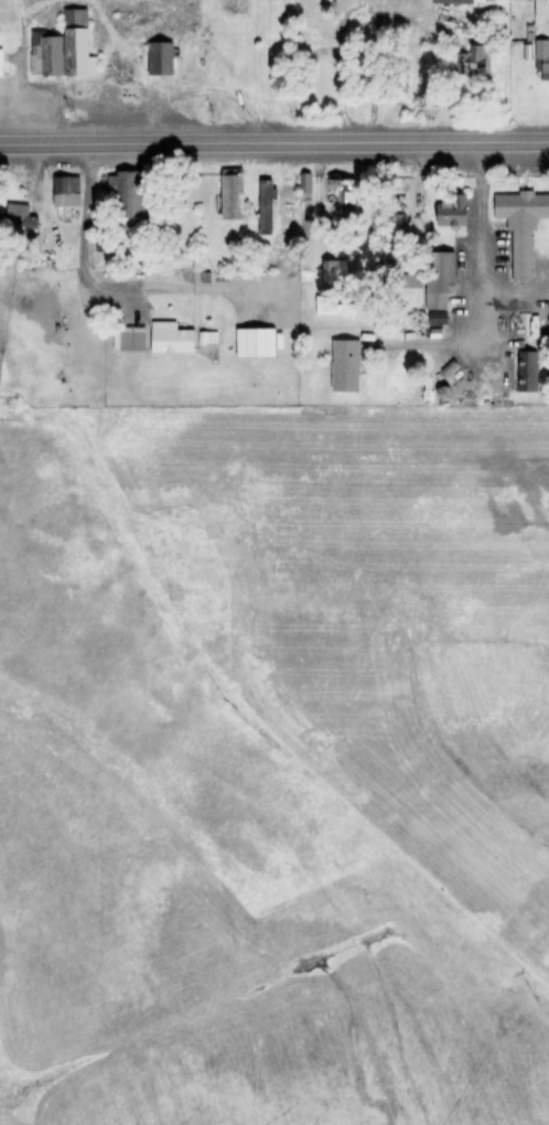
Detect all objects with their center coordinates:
building: (525, 0)
building: (453, 2)
building: (64, 53)
building: (160, 58)
building: (542, 60)
building: (474, 62)
building: (1, 64)
road: (273, 142)
building: (66, 186)
building: (232, 196)
building: (129, 199)
building: (338, 200)
road: (85, 203)
building: (266, 207)
building: (452, 211)
building: (14, 218)
building: (521, 229)
building: (397, 243)
building: (335, 272)
building: (439, 280)
building: (438, 320)
building: (171, 339)
building: (132, 340)
building: (346, 366)

